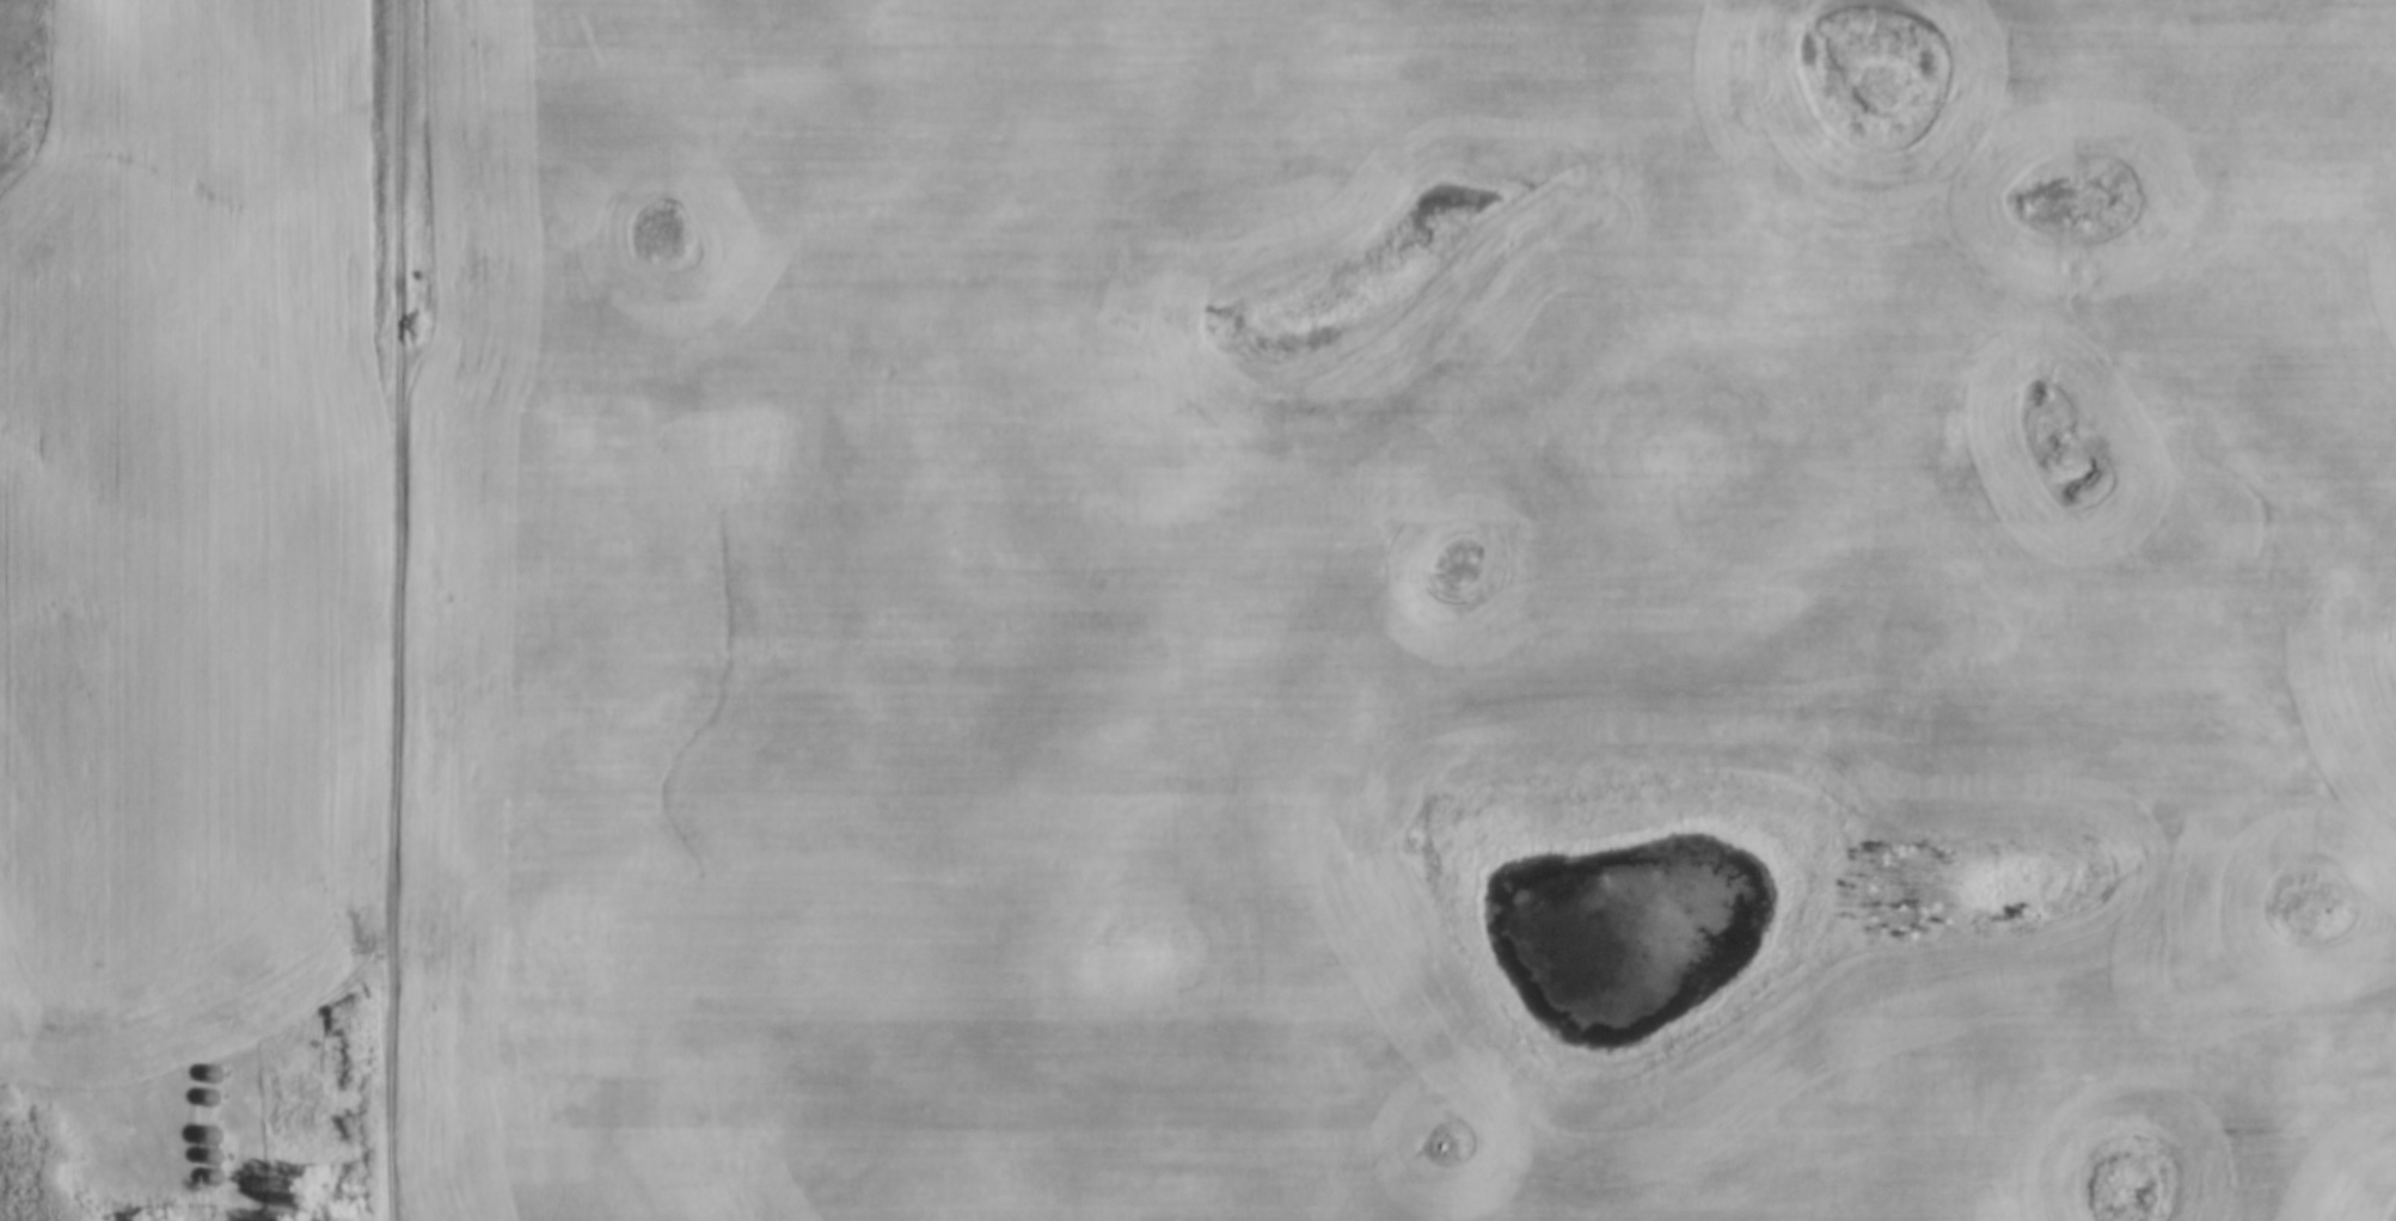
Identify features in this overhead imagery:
road: (394, 612)
road: (387, 1186)

